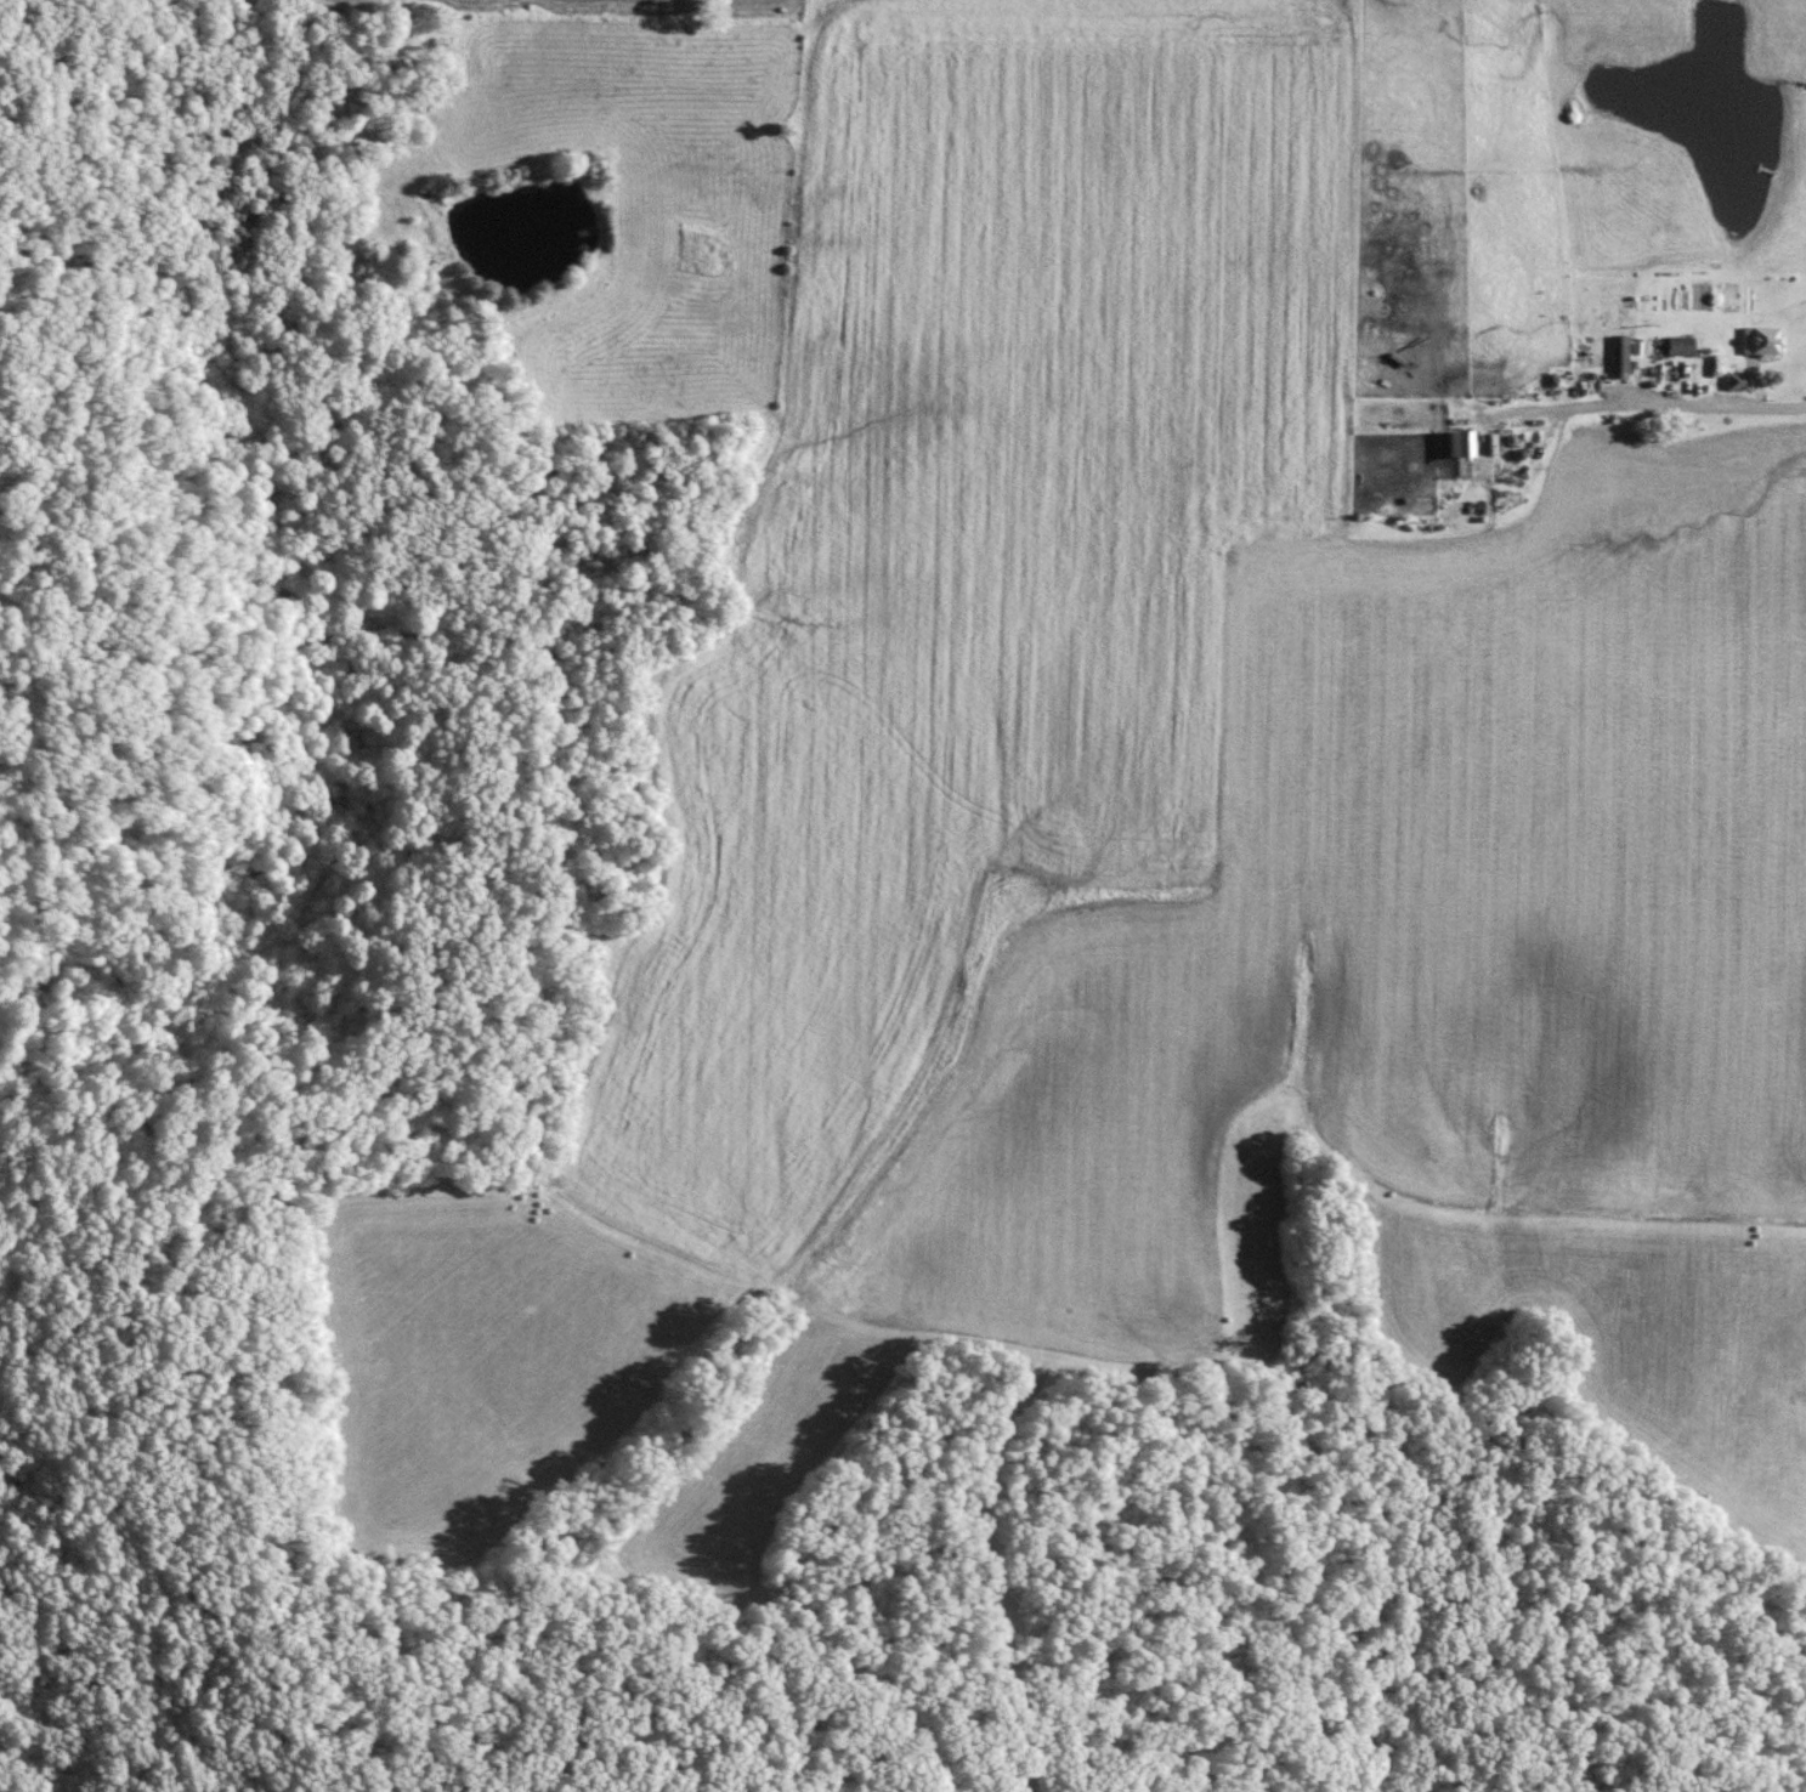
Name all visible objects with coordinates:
building: (1677, 344)
building: (1620, 355)
building: (1736, 379)
road: (1767, 402)
building: (1457, 442)

